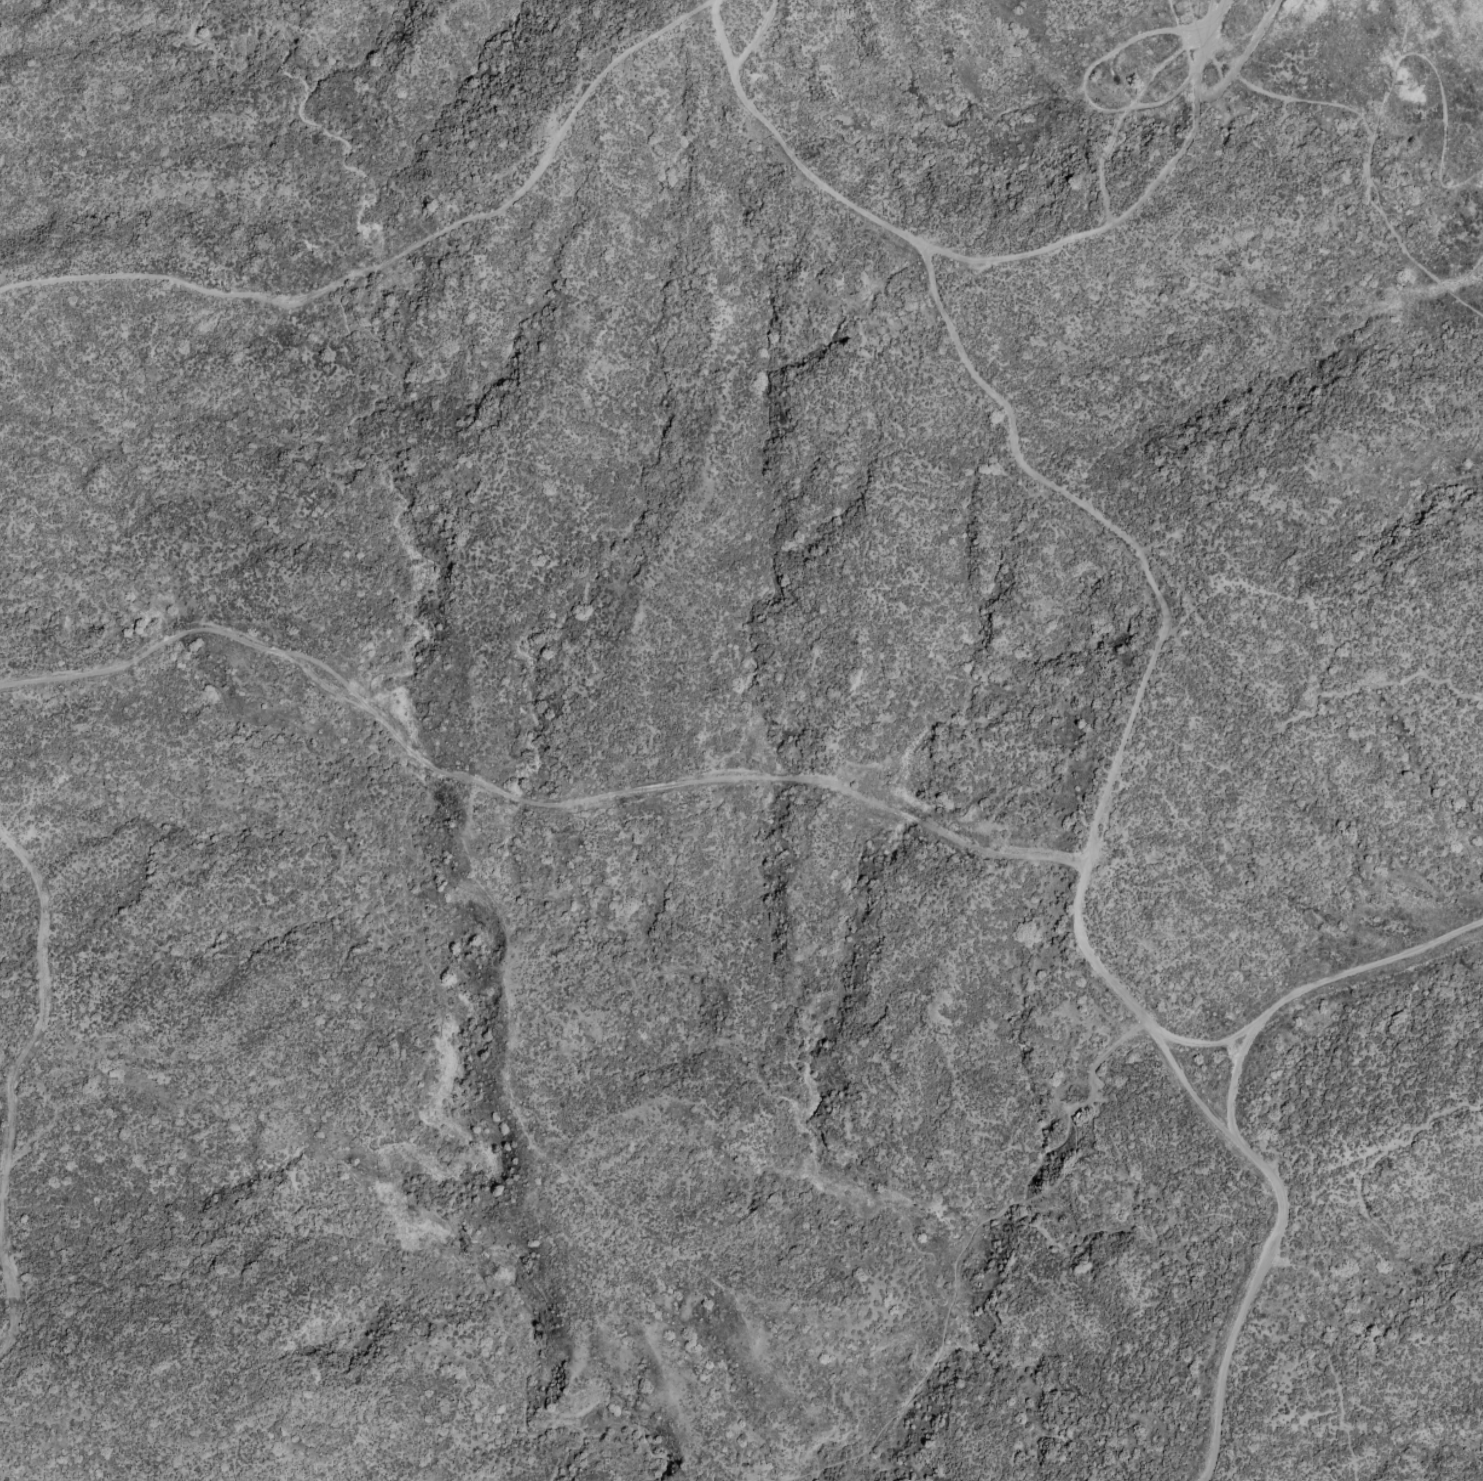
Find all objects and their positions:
road: (1056, 492)
road: (1316, 984)

